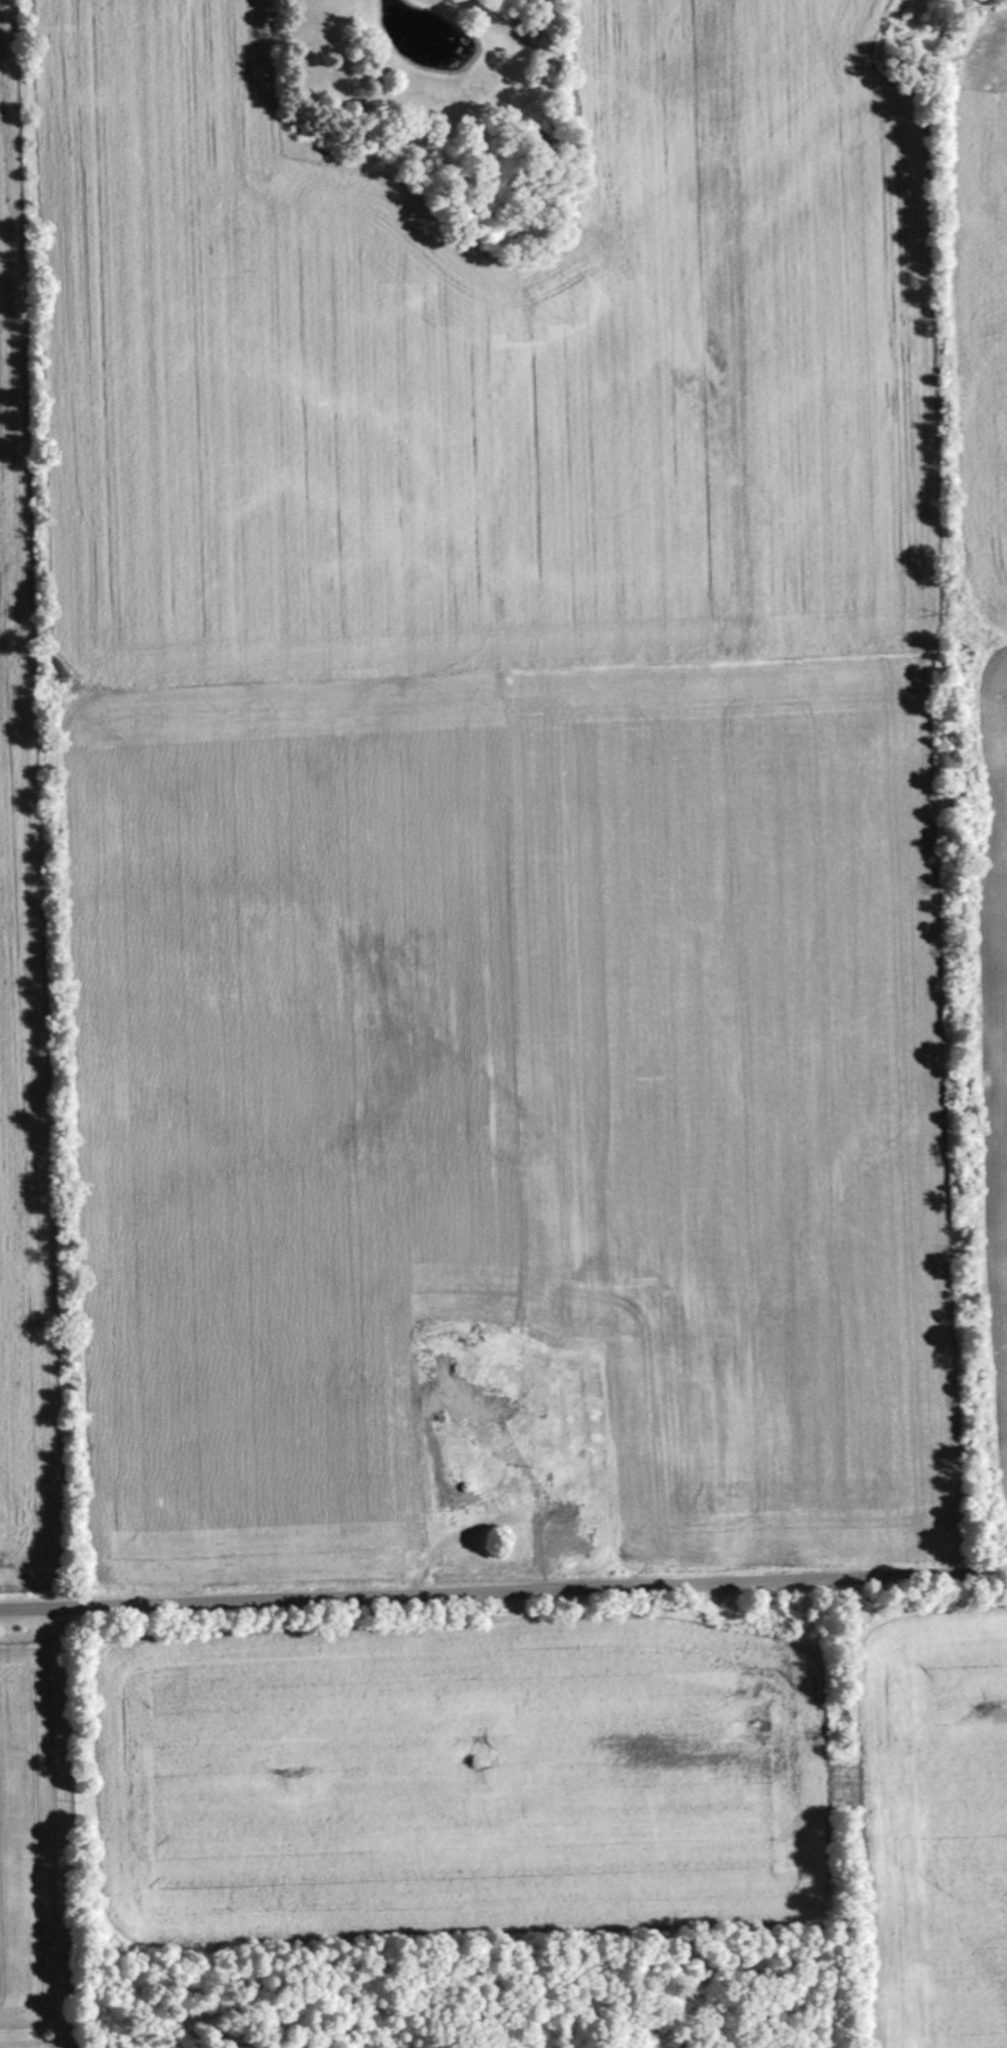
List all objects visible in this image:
building: (454, 1499)
road: (503, 1584)

